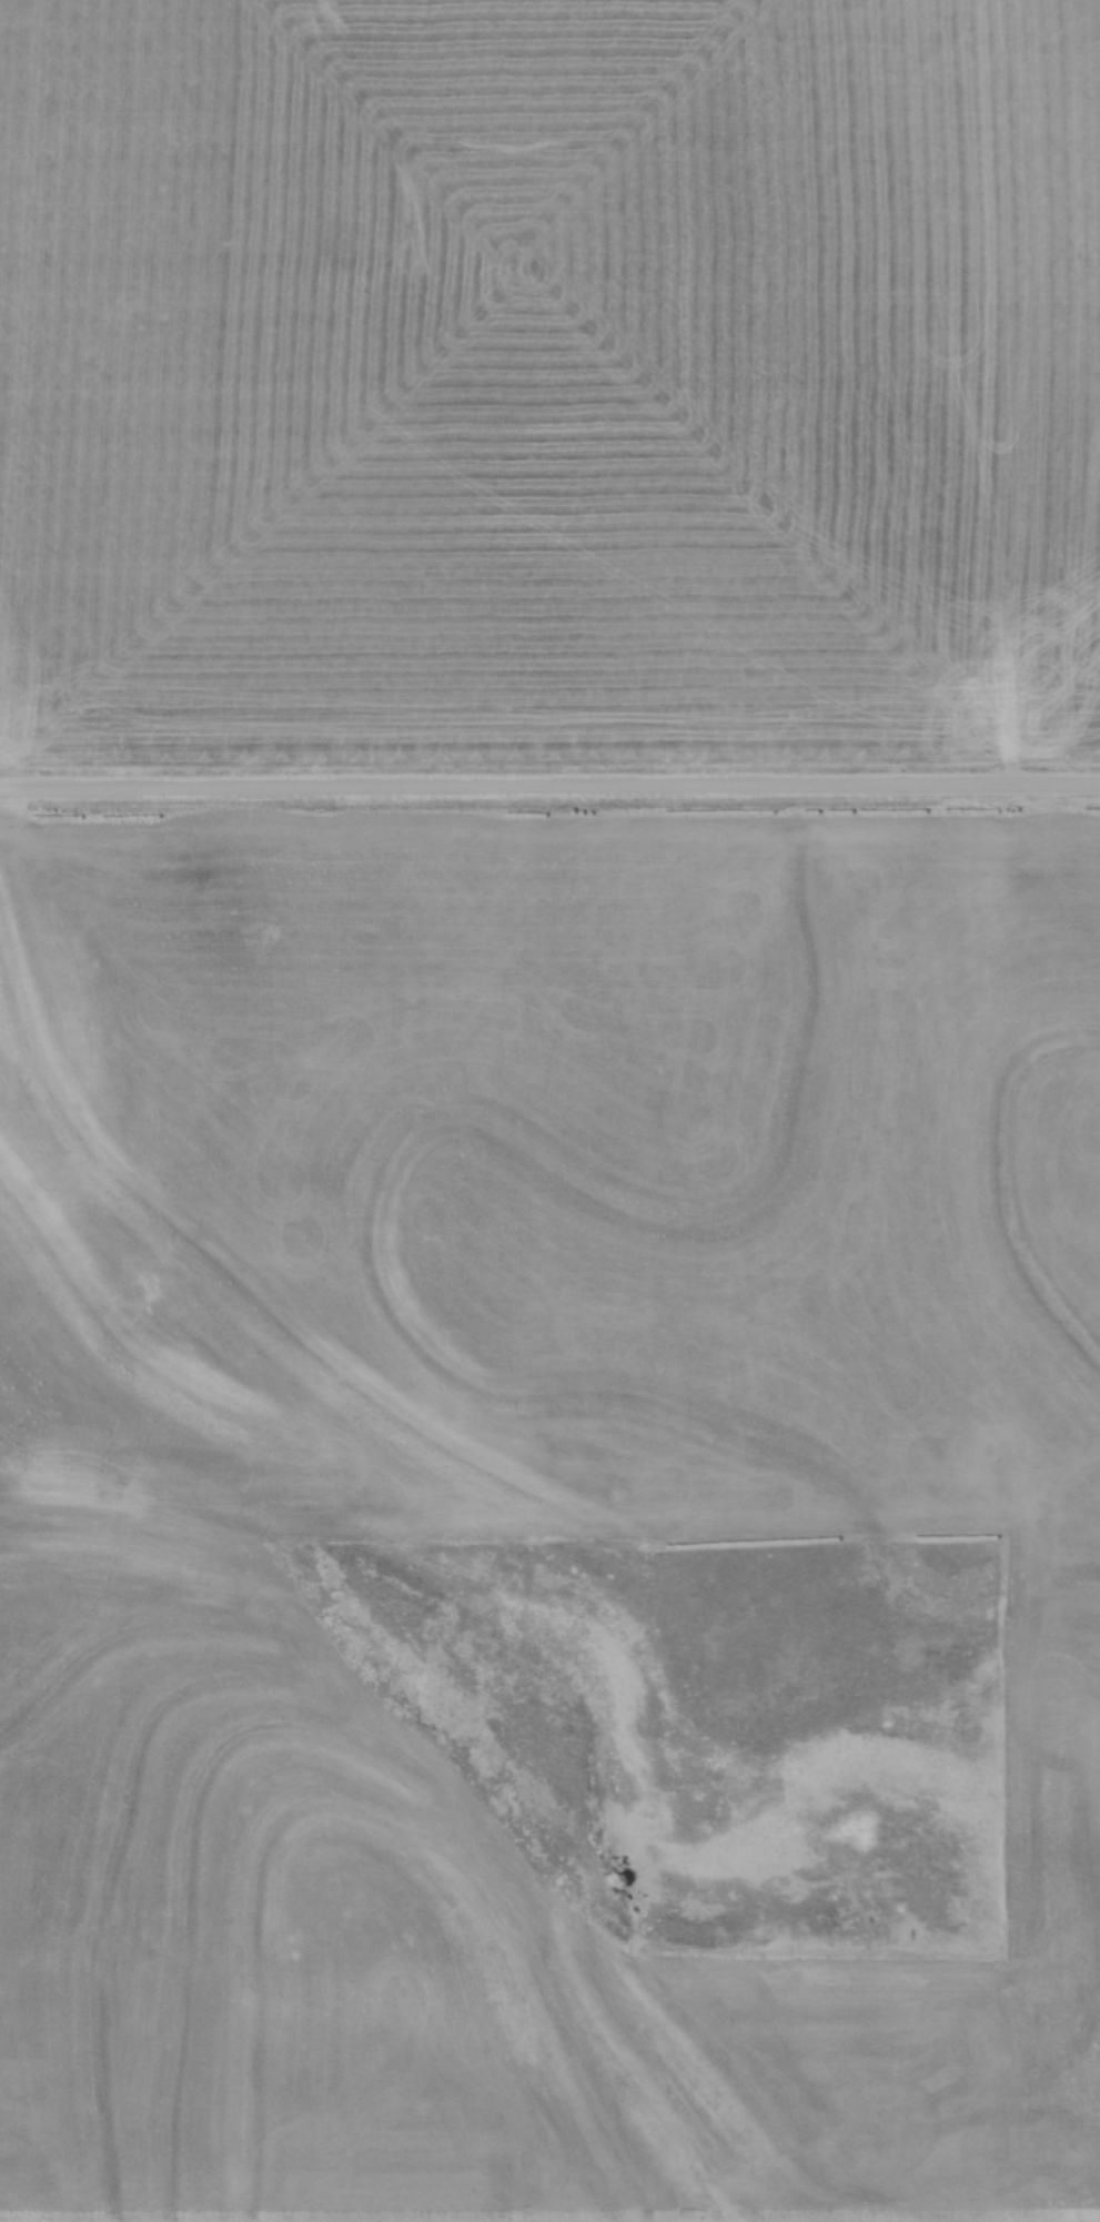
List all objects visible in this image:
road: (549, 787)

